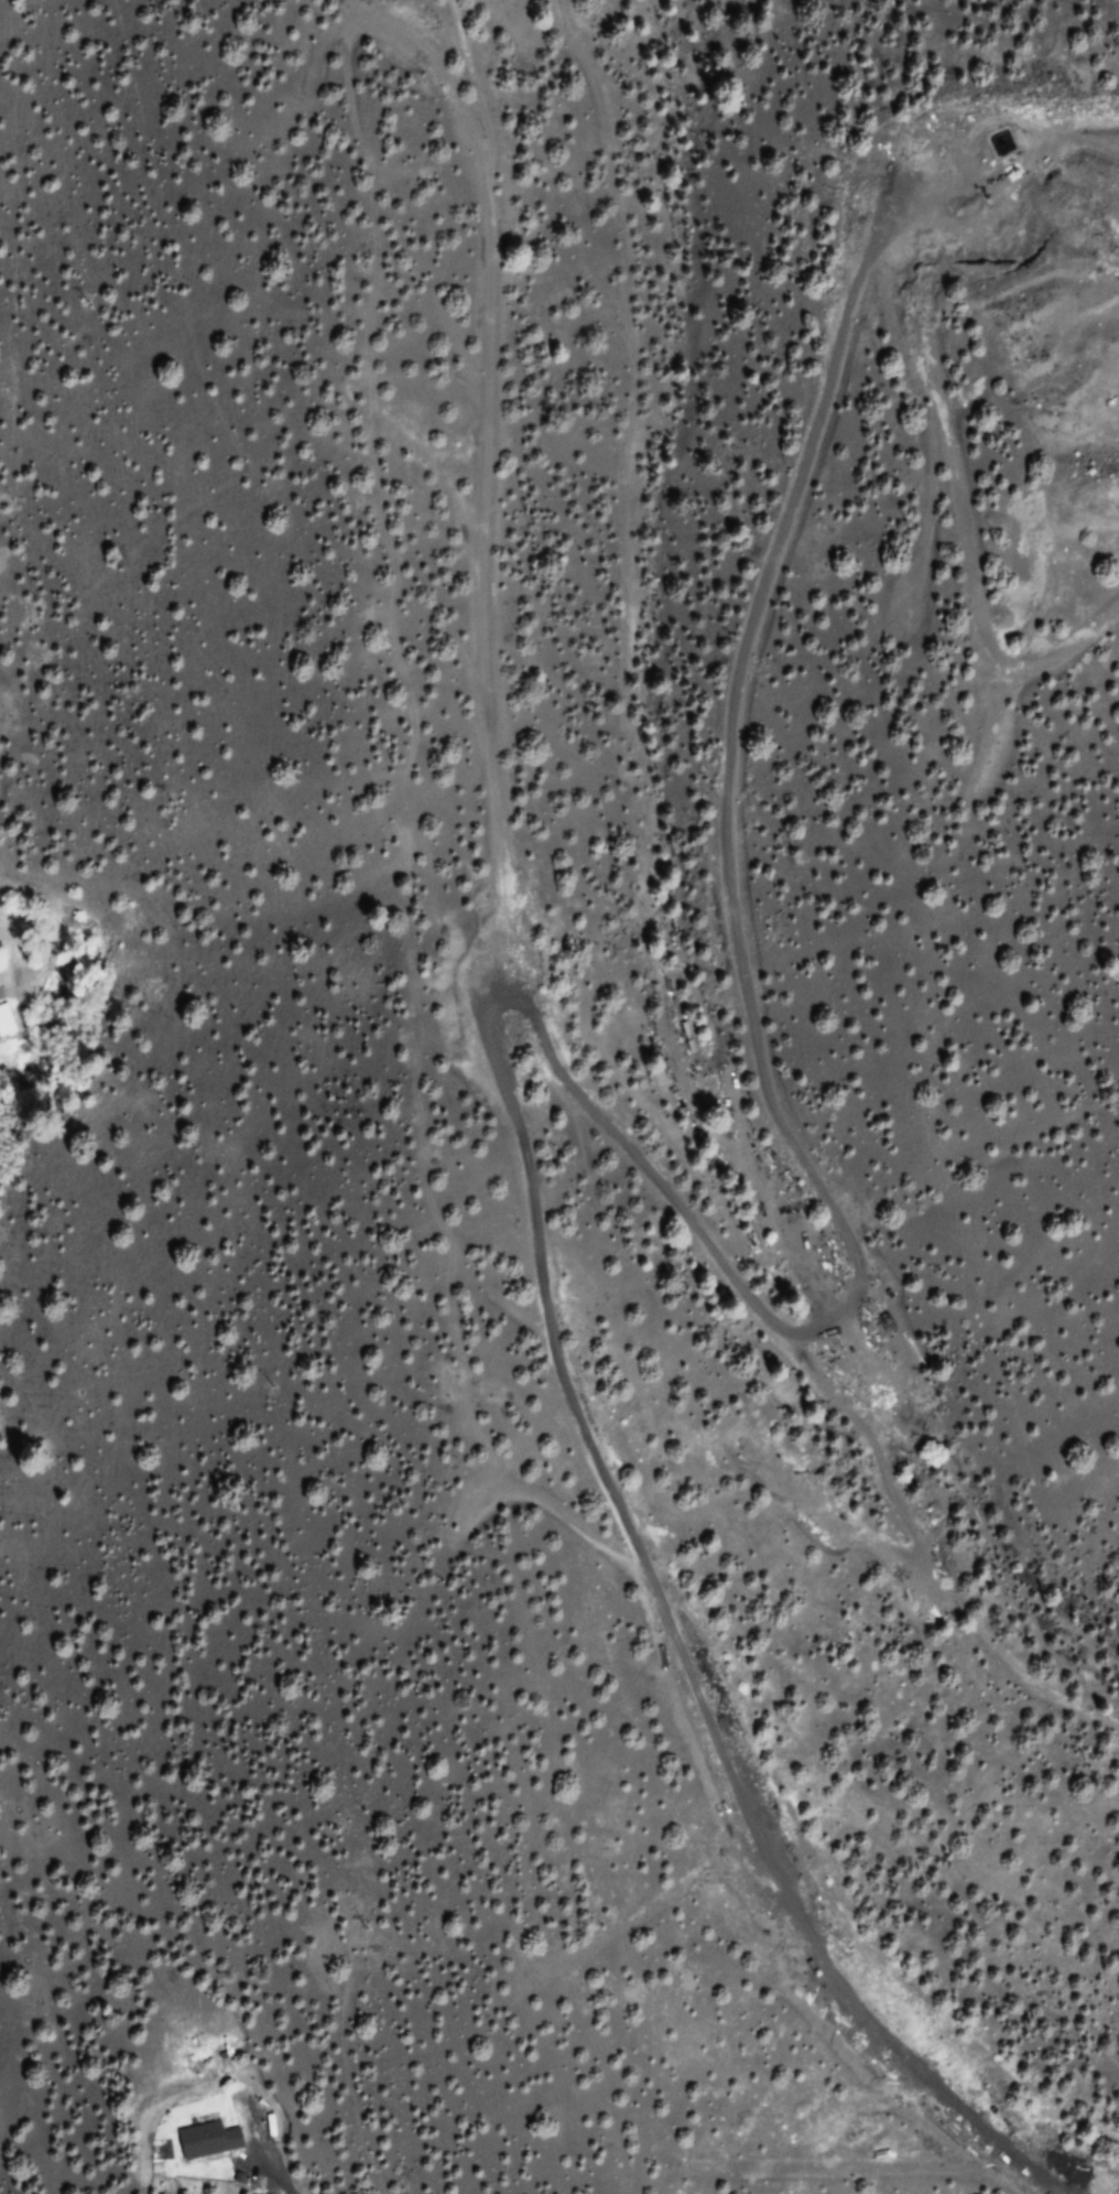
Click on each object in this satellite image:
building: (4, 1022)
road: (585, 1107)
building: (200, 2140)
road: (271, 2173)

